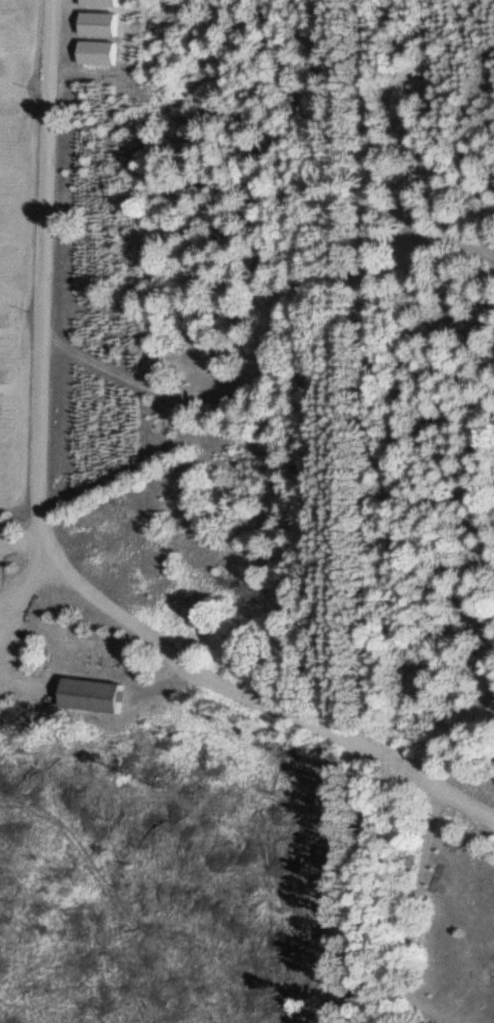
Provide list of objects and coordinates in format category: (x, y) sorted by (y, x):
building: (100, 3)
building: (98, 24)
building: (97, 53)
building: (417, 292)
road: (45, 536)
building: (92, 696)
road: (165, 770)

